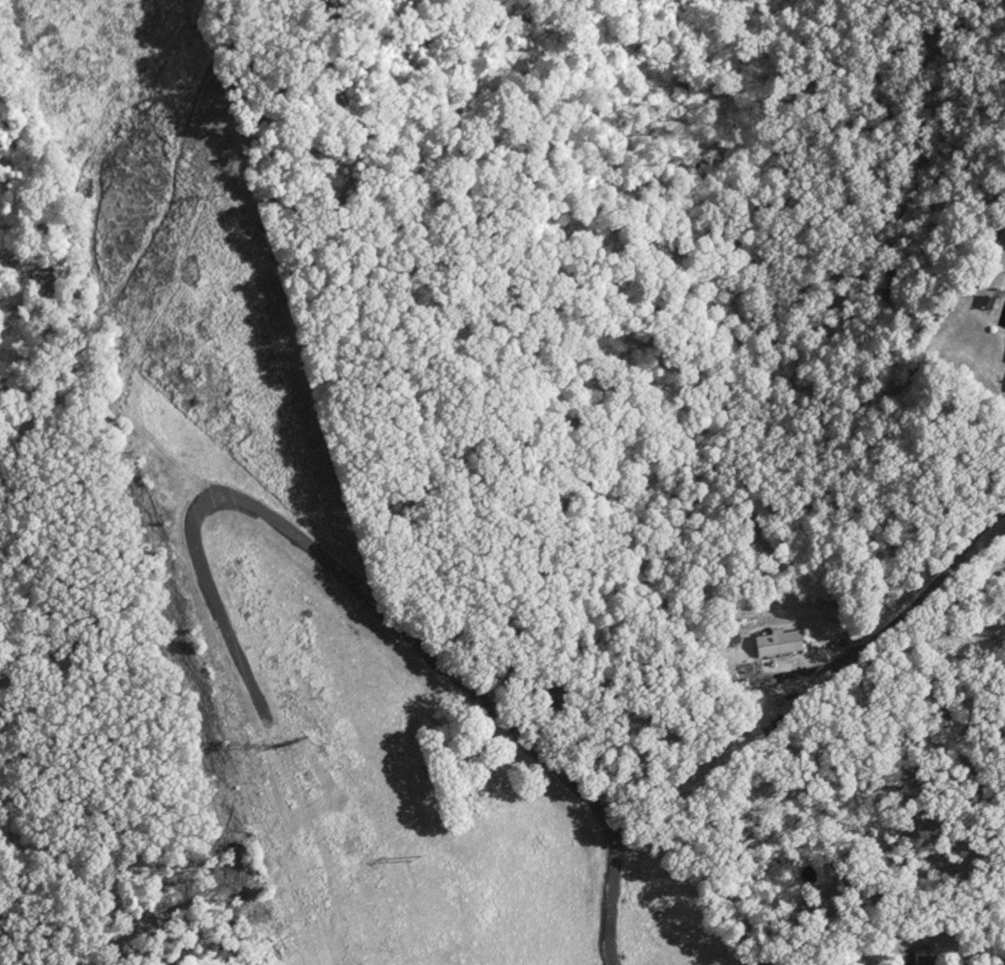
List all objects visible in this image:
power tower: (226, 195)
building: (783, 642)
road: (528, 729)
power tower: (287, 752)
power tower: (422, 855)
building: (926, 960)

